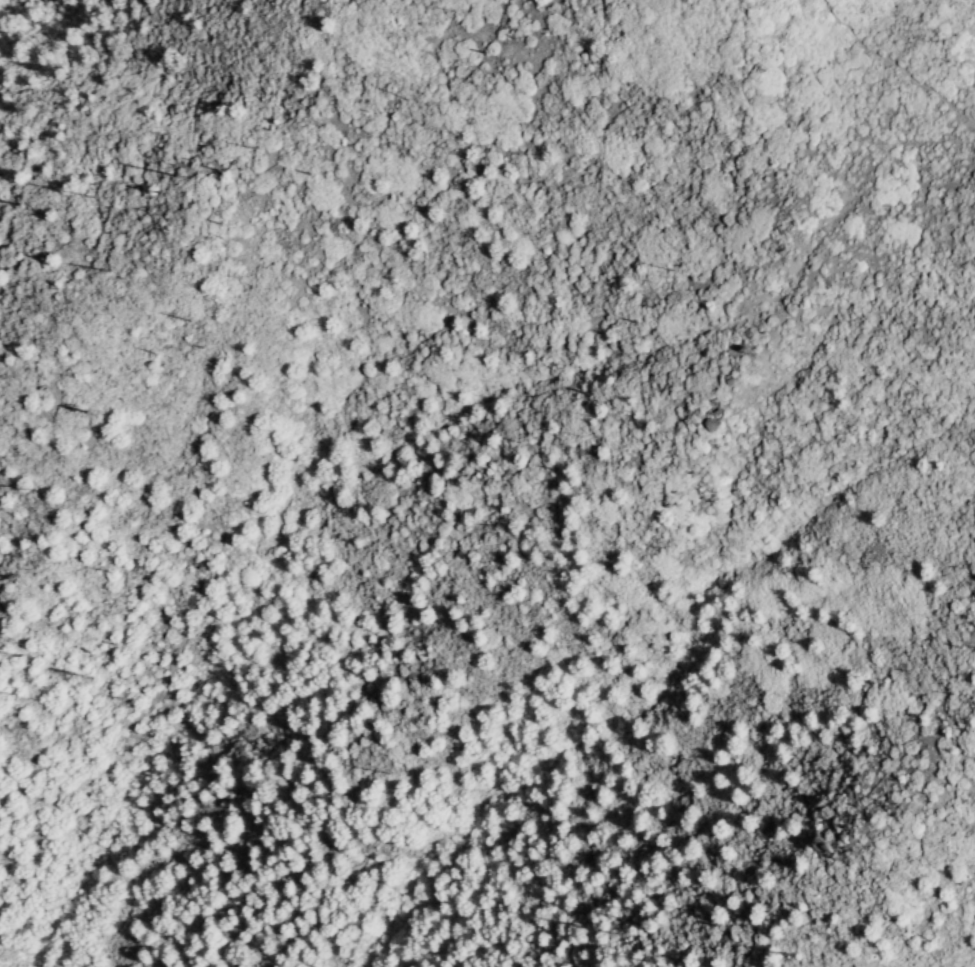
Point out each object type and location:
road: (895, 64)

